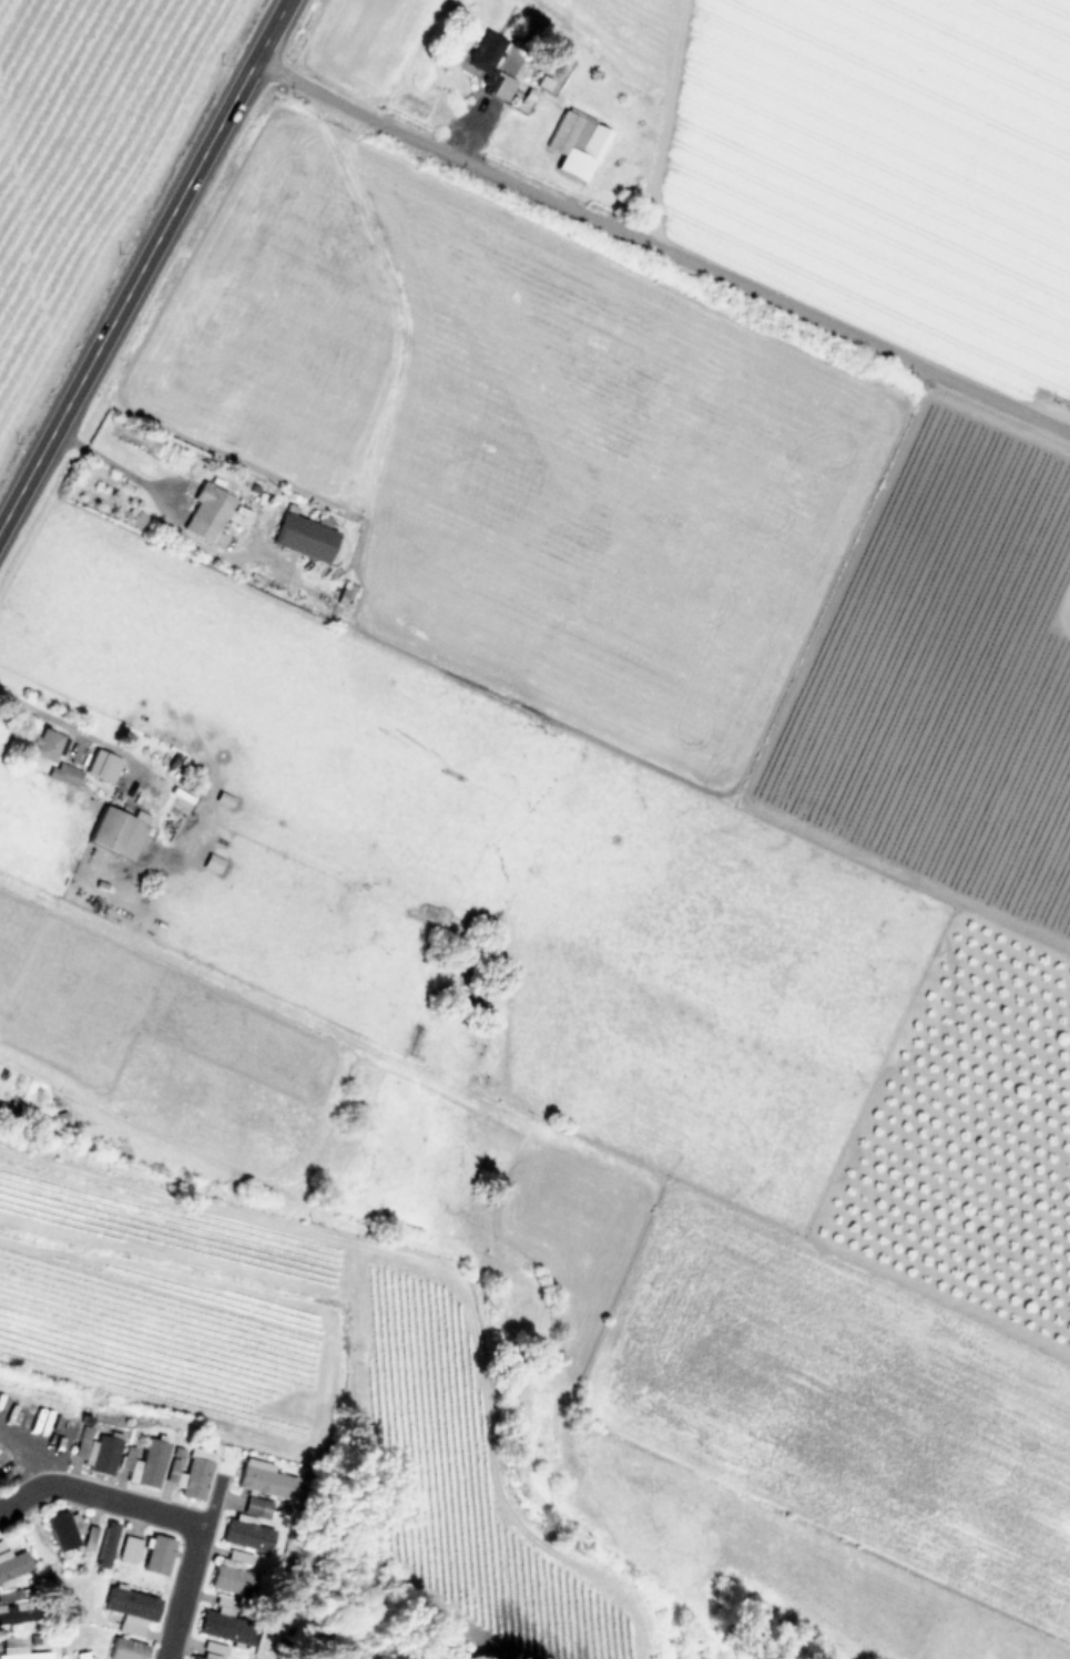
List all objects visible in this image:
building: (489, 68)
building: (575, 146)
road: (661, 250)
road: (144, 264)
road: (111, 467)
building: (205, 515)
building: (303, 540)
road: (48, 711)
building: (45, 747)
building: (62, 777)
crop: (534, 829)
building: (116, 836)
building: (7, 1118)
building: (101, 1455)
building: (147, 1464)
building: (171, 1472)
building: (193, 1479)
building: (261, 1481)
building: (255, 1509)
road: (166, 1514)
building: (60, 1532)
building: (245, 1536)
building: (128, 1550)
building: (11, 1565)
building: (231, 1576)
building: (130, 1610)
building: (225, 1625)
building: (18, 1649)
building: (125, 1650)
building: (83, 1656)
building: (188, 1658)

